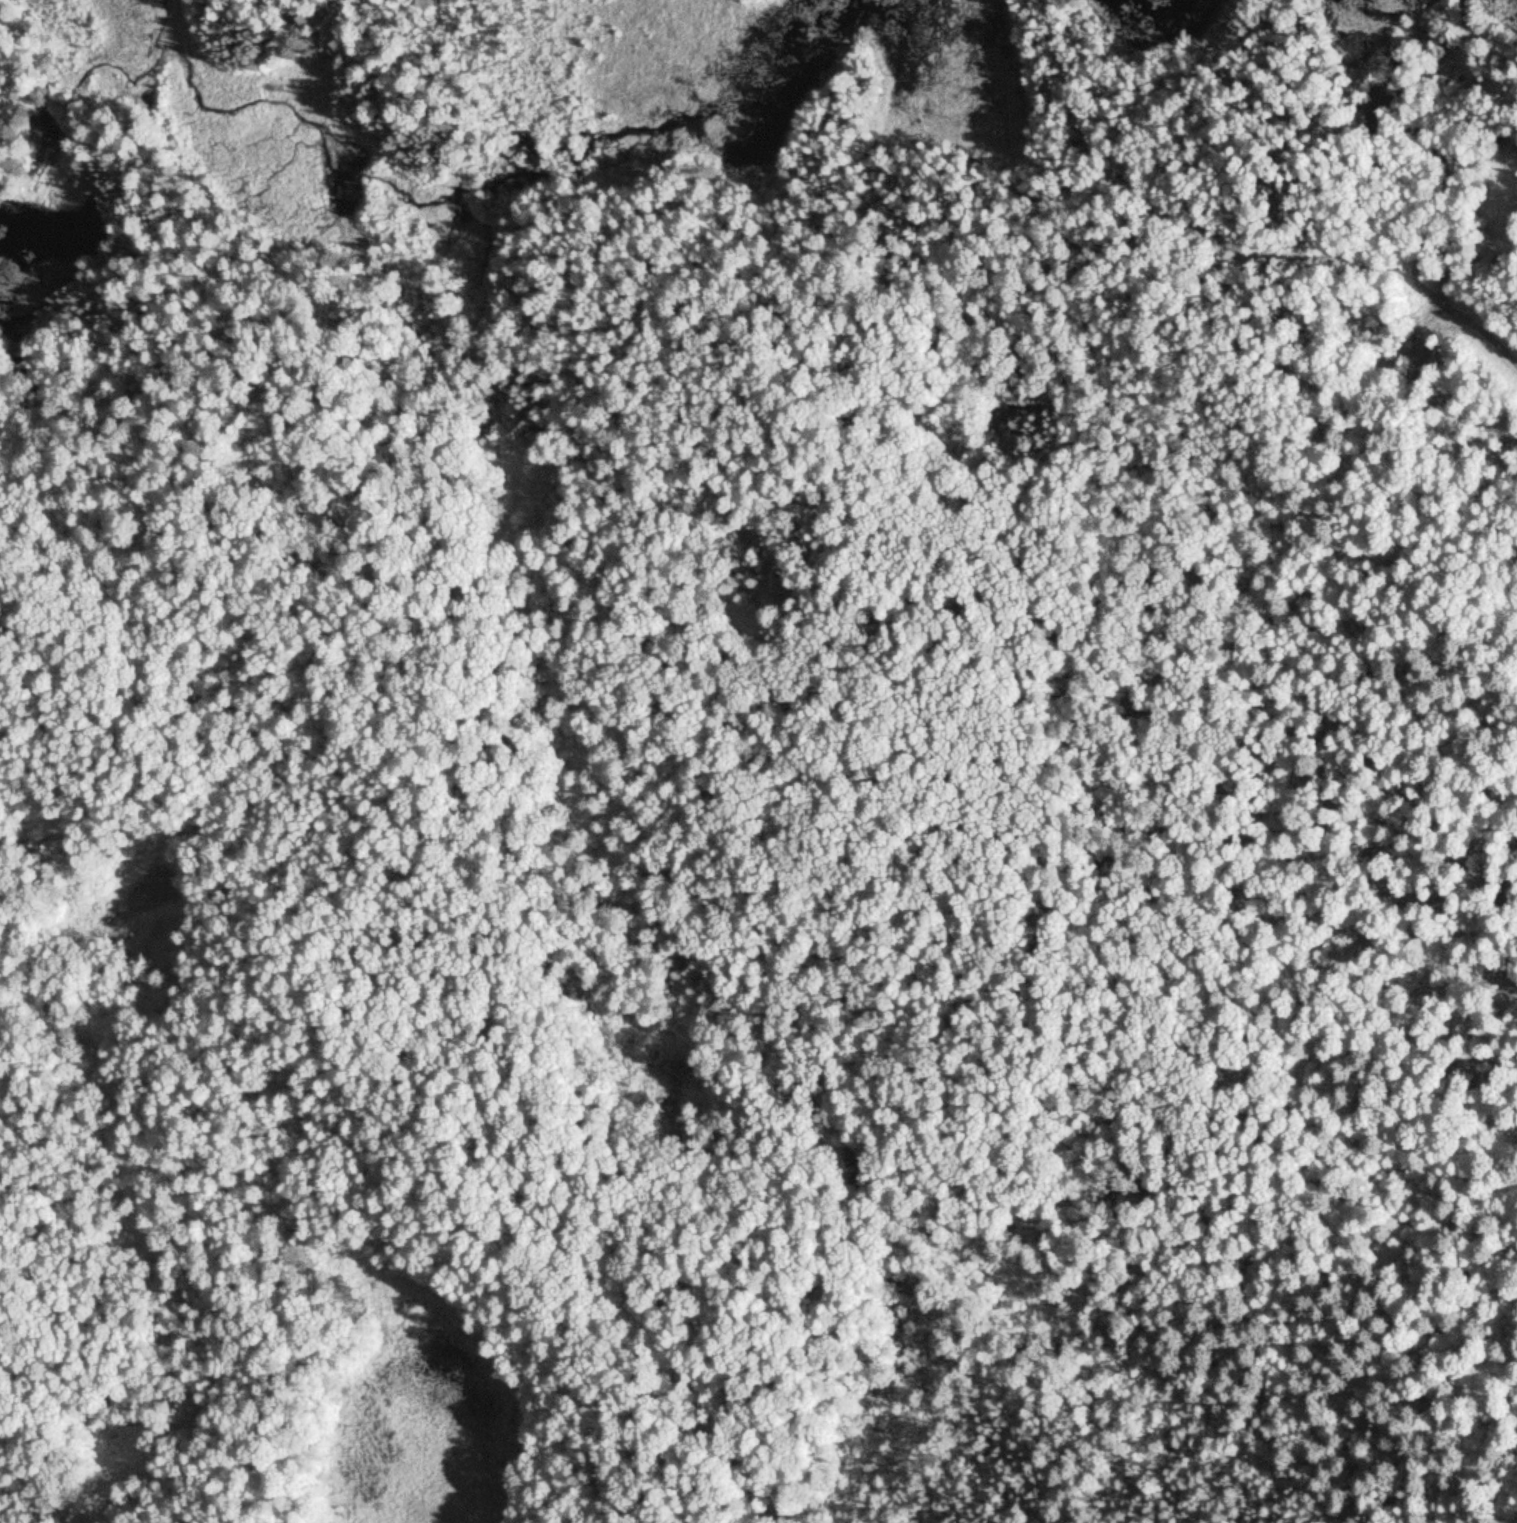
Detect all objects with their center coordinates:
road: (1178, 228)
road: (1480, 327)

